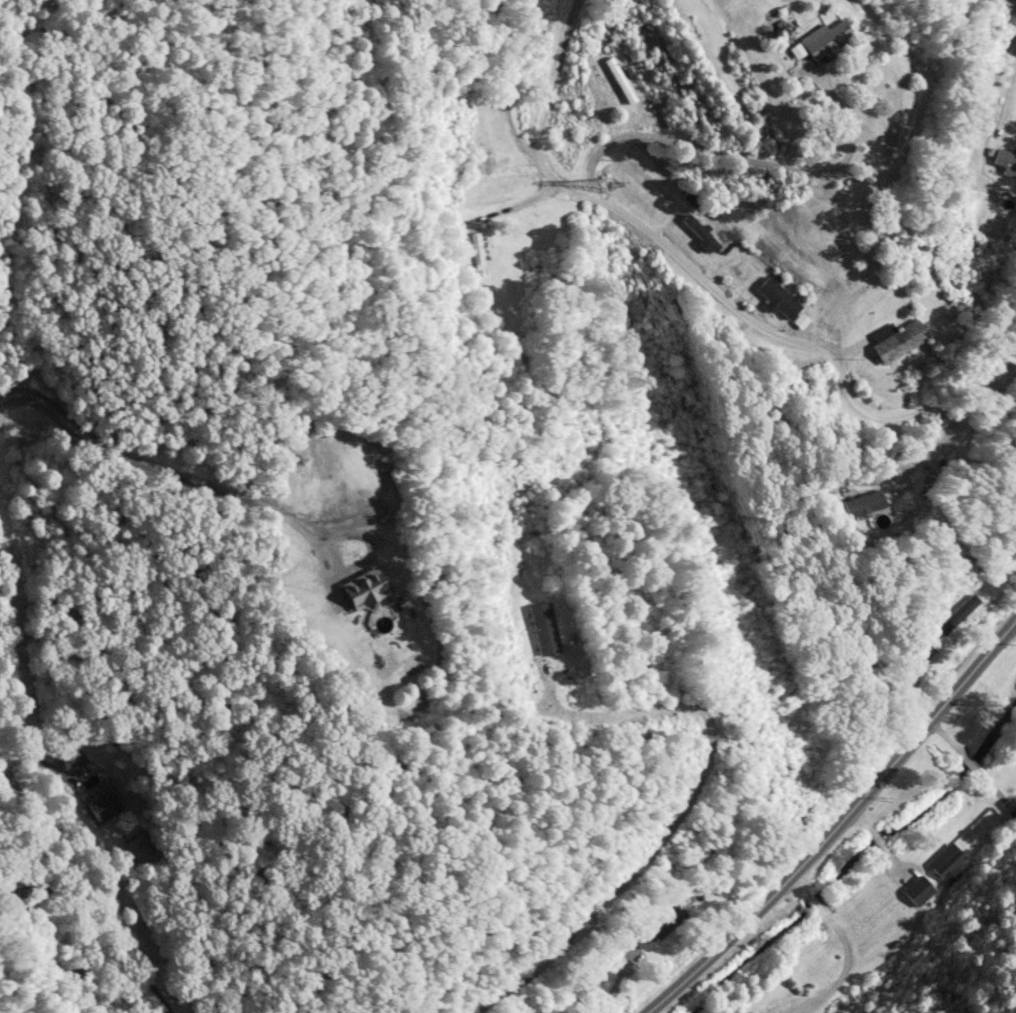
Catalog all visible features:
building: (827, 42)
building: (620, 82)
building: (1007, 162)
power tower: (604, 186)
building: (701, 234)
building: (478, 256)
road: (704, 283)
building: (780, 297)
building: (802, 322)
building: (899, 341)
road: (187, 482)
building: (870, 506)
building: (366, 590)
building: (960, 616)
building: (546, 631)
building: (72, 759)
building: (104, 806)
building: (1009, 808)
road: (839, 824)
building: (138, 849)
building: (948, 864)
road: (86, 883)
building: (919, 891)
building: (666, 922)

